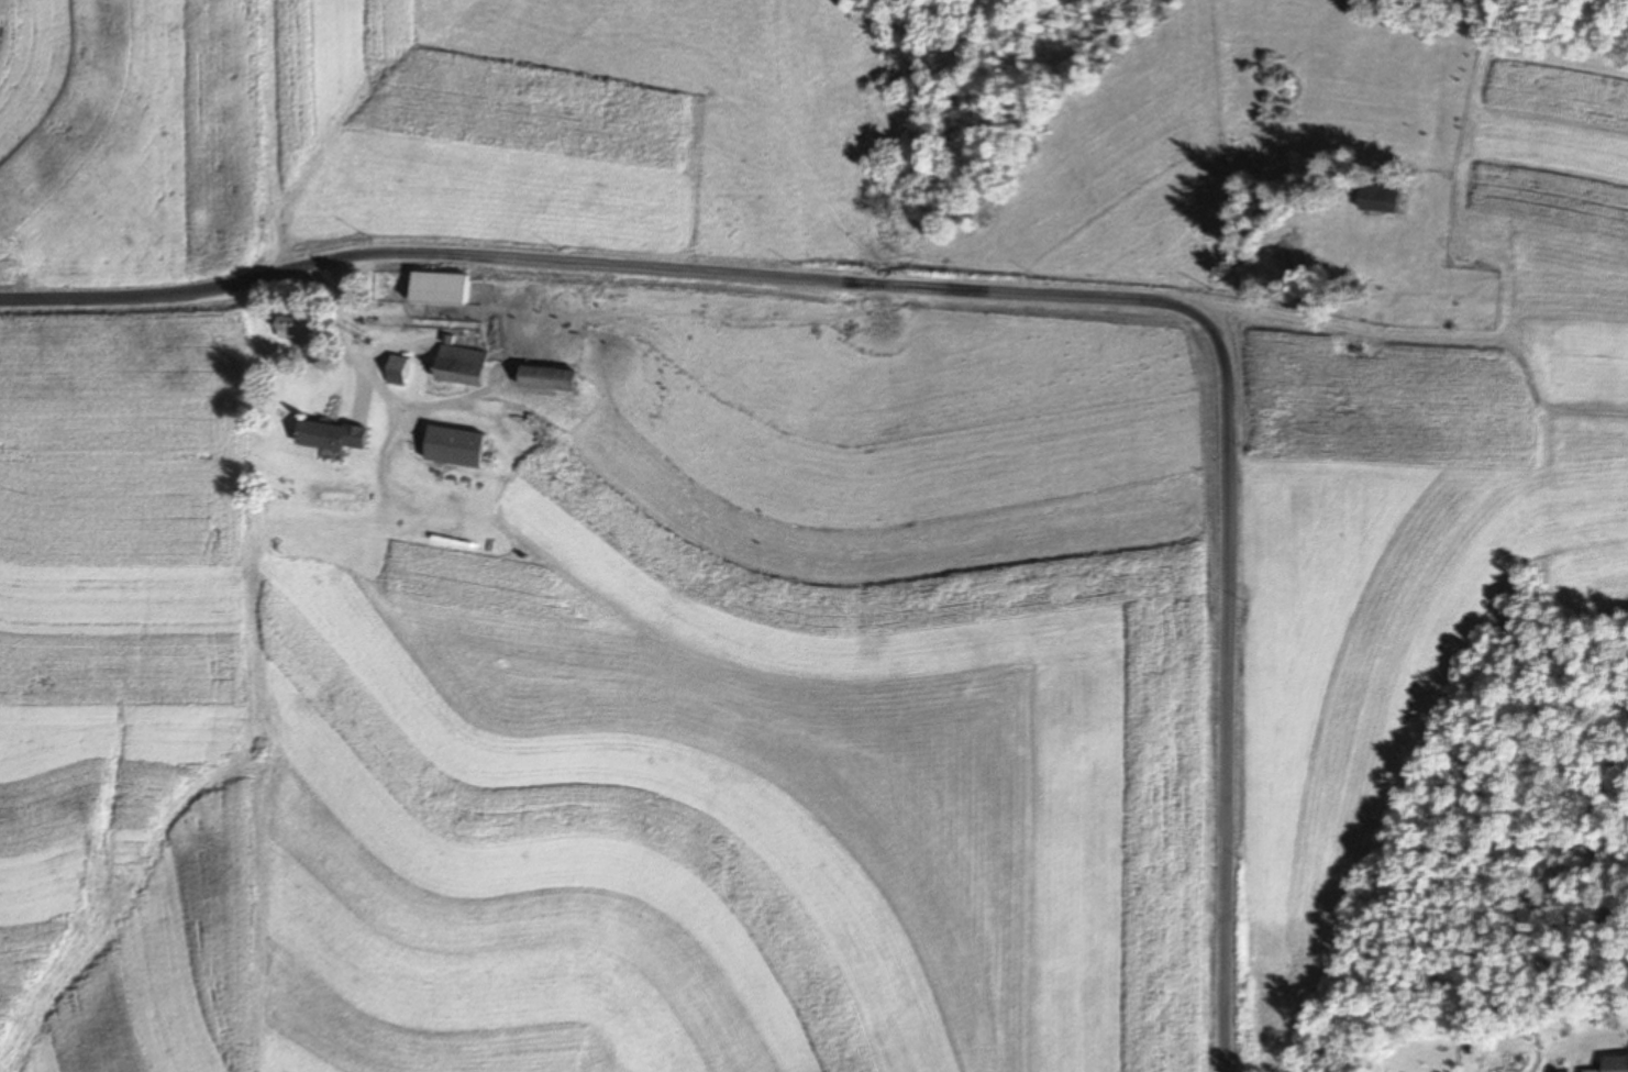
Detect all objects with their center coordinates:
road: (625, 273)
building: (438, 289)
building: (292, 330)
building: (458, 365)
building: (397, 372)
building: (546, 379)
building: (330, 436)
building: (454, 447)
road: (1230, 714)
building: (1614, 1064)

